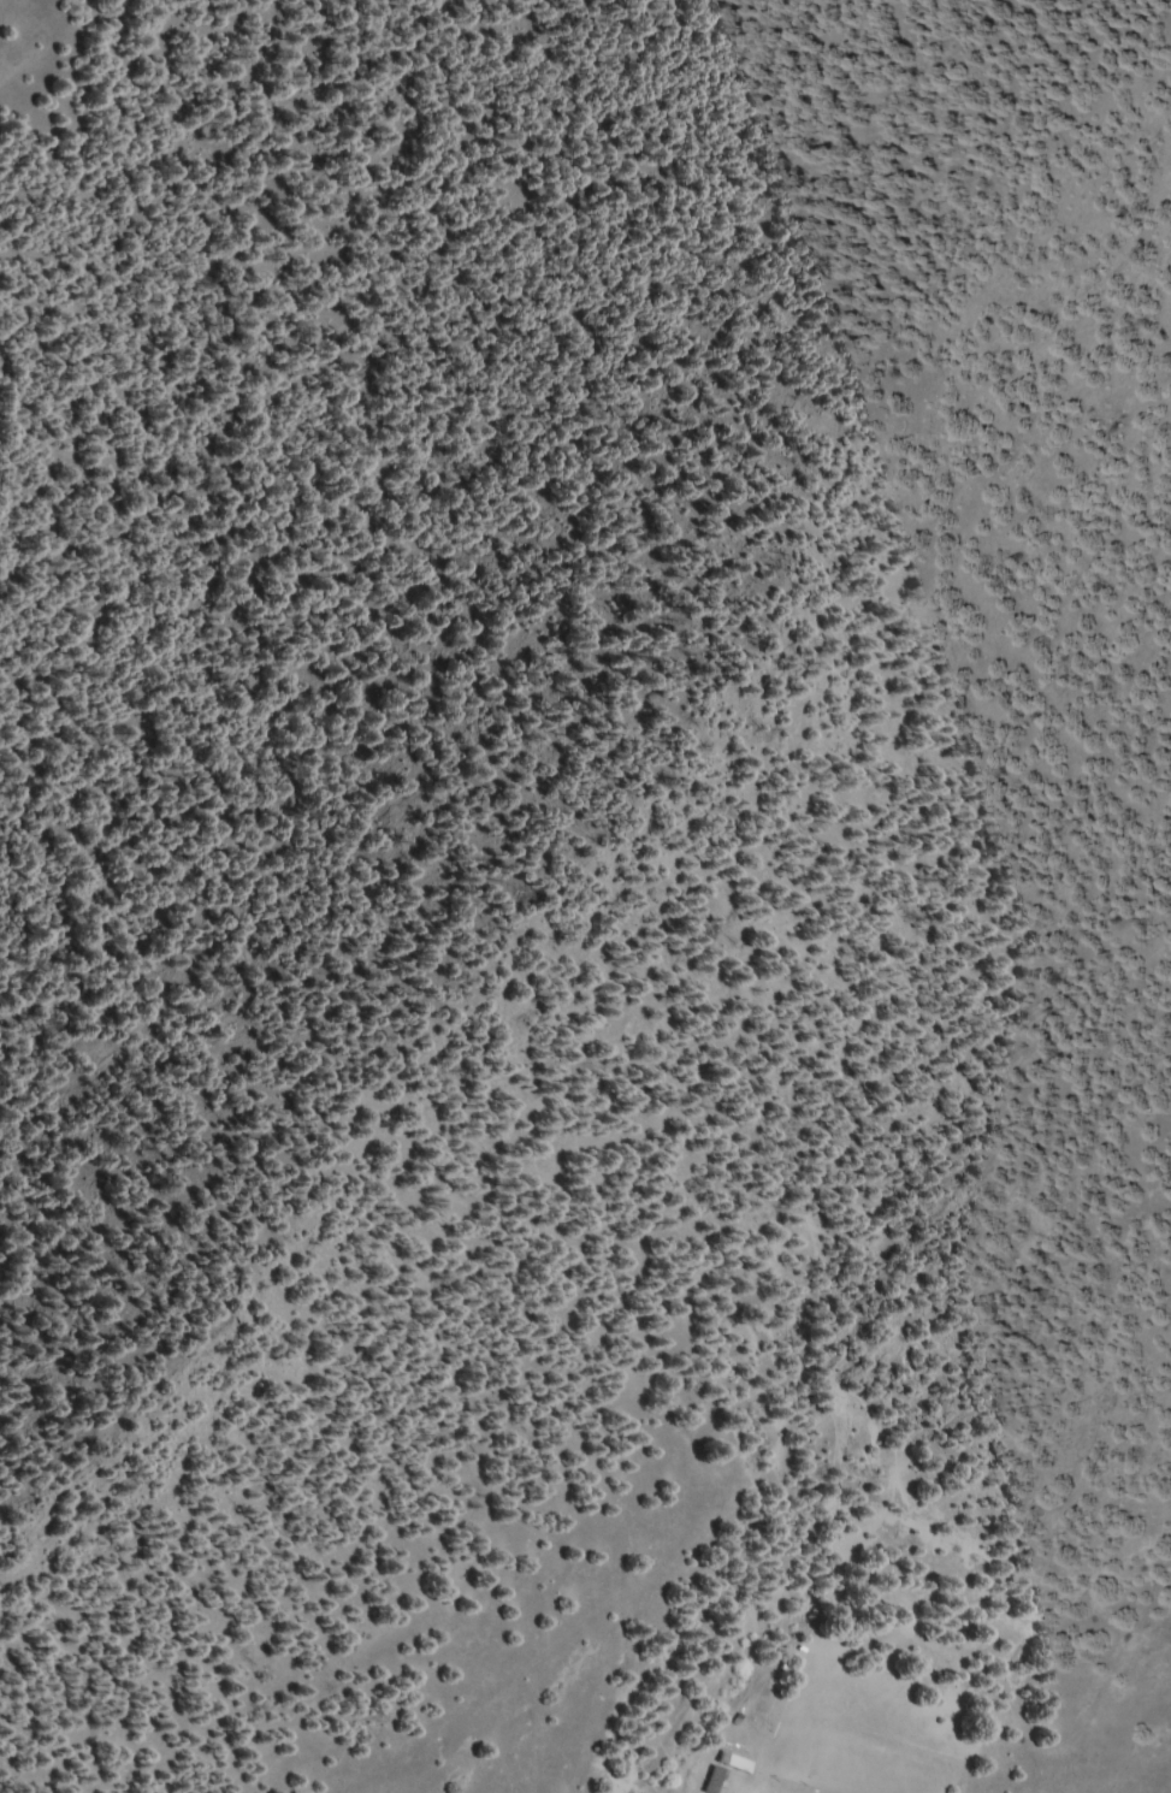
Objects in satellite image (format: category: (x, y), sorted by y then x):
building: (734, 1764)
building: (708, 1780)

